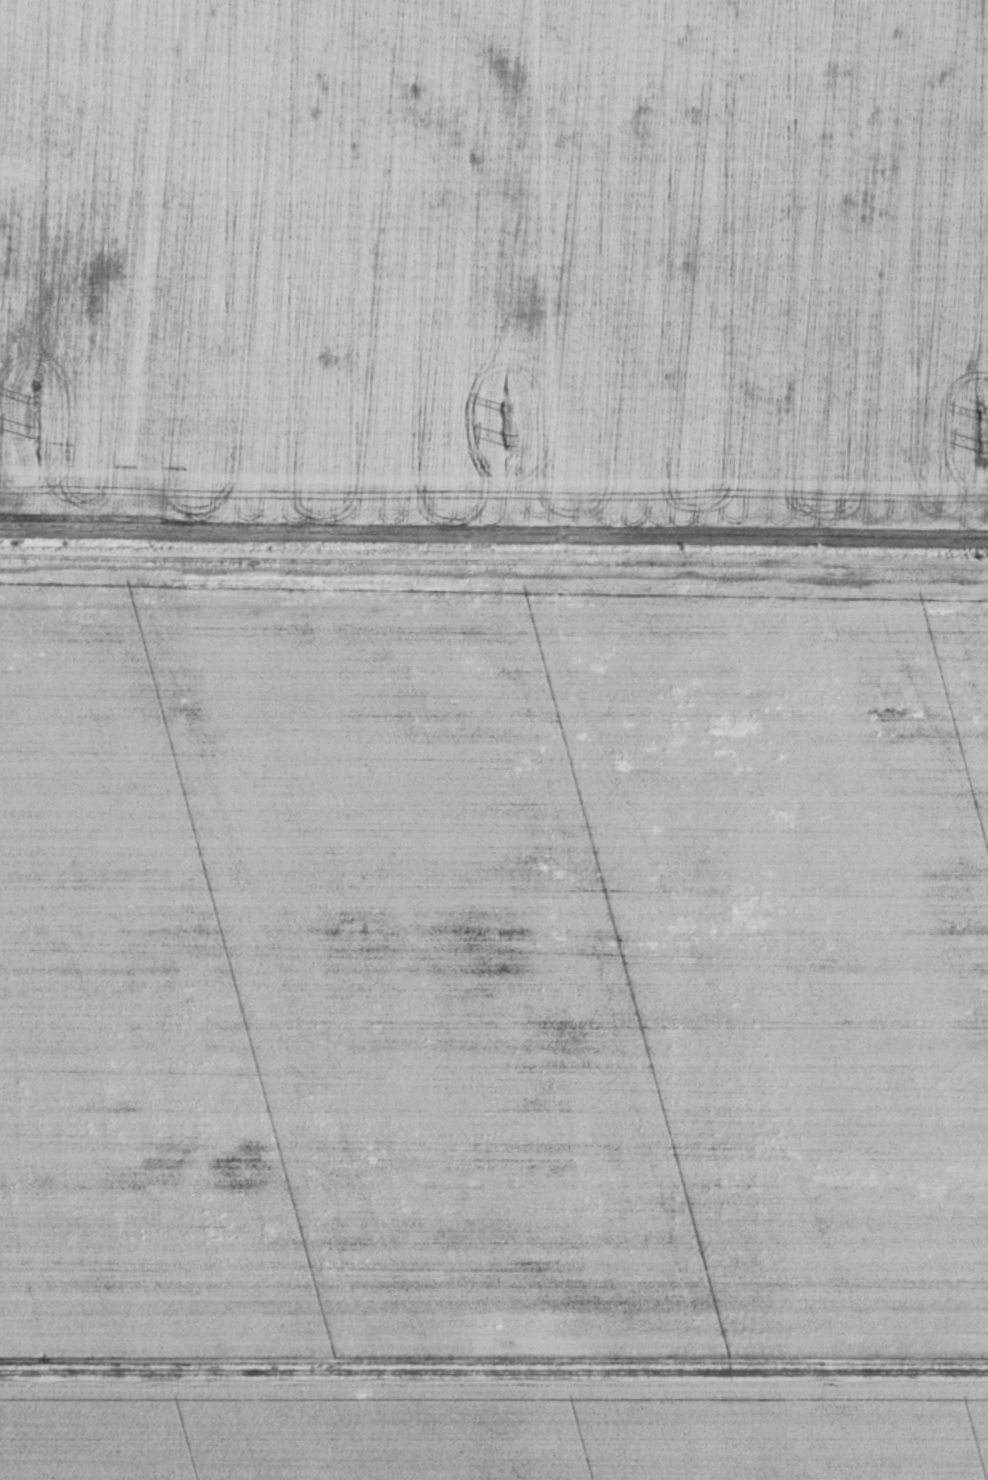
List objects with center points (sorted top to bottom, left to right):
road: (494, 556)

